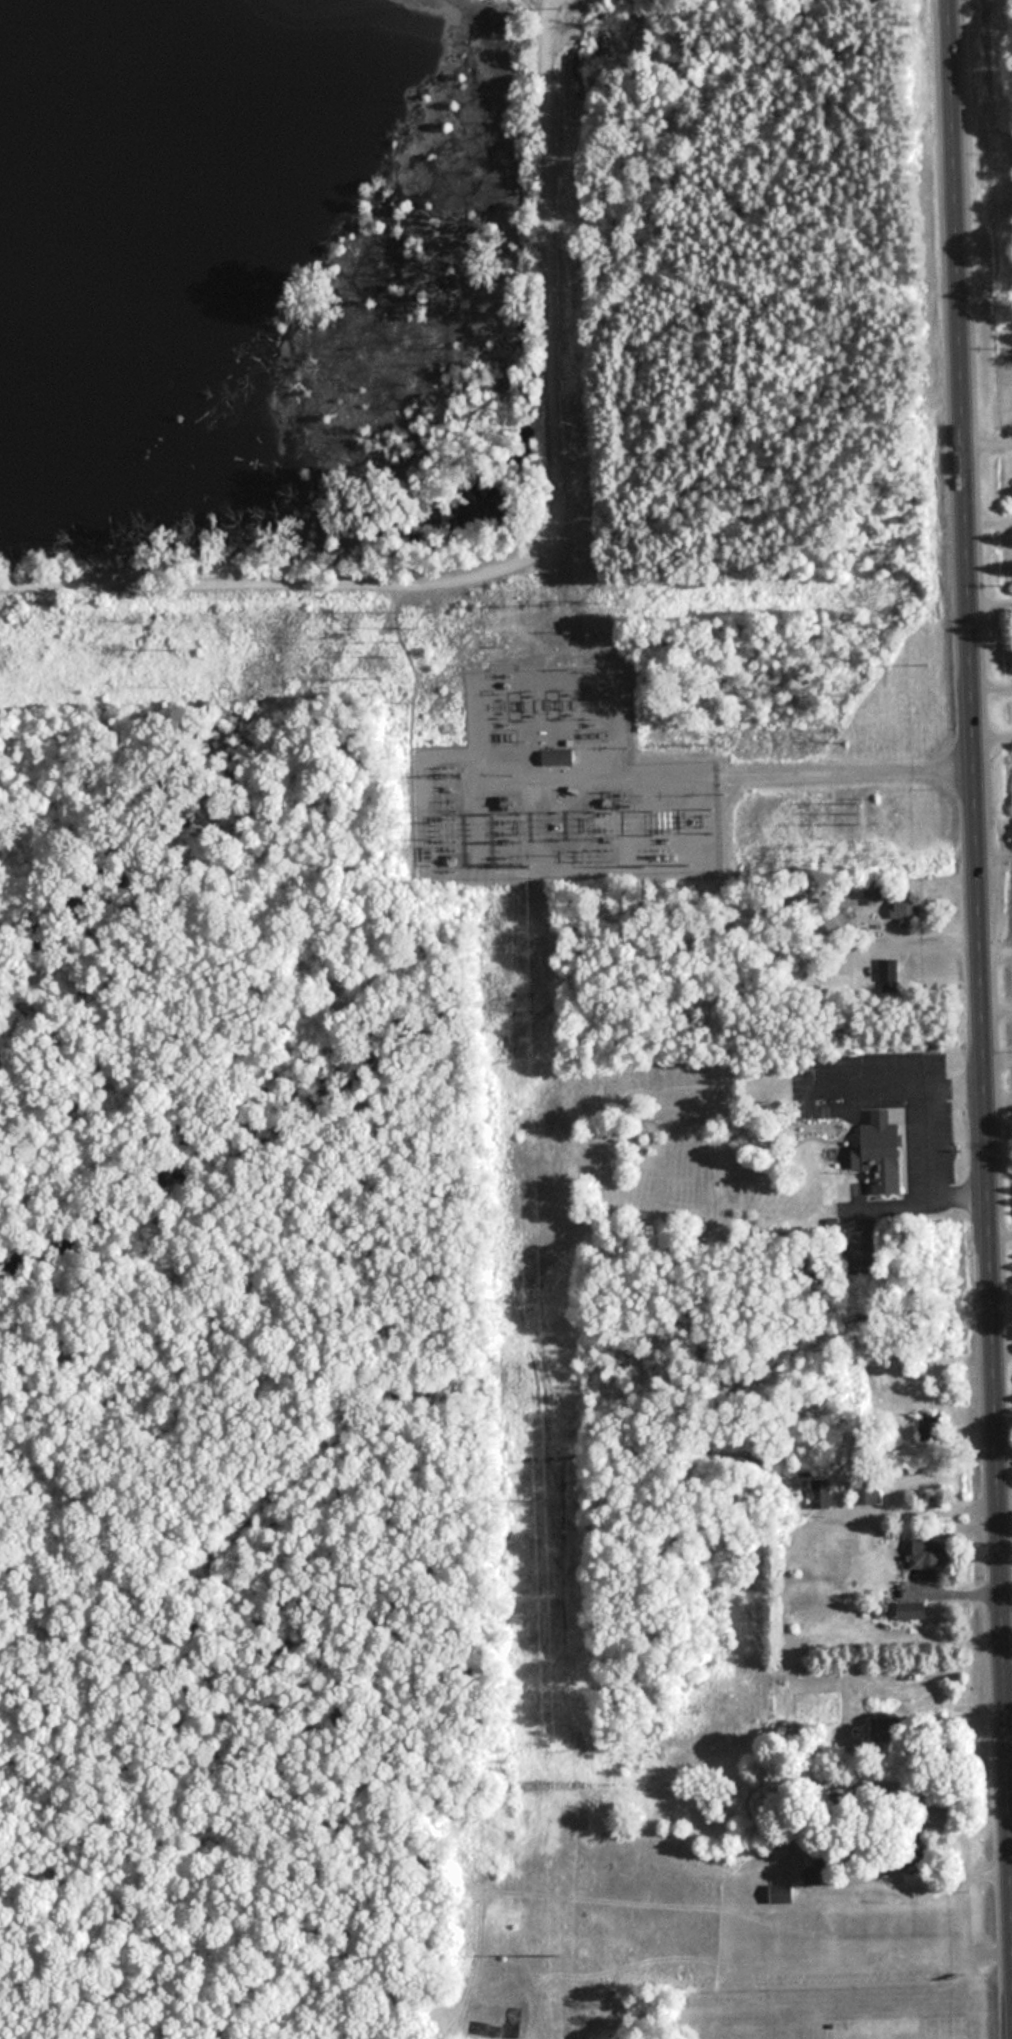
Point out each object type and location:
park: (980, 149)
road: (985, 431)
power tower: (407, 641)
power tower: (175, 650)
power tower: (445, 727)
building: (557, 758)
road: (803, 773)
power substation: (542, 785)
power tower: (862, 816)
road: (974, 880)
building: (877, 890)
building: (906, 910)
road: (993, 946)
building: (888, 970)
power tower: (522, 1007)
building: (801, 1065)
building: (883, 1152)
building: (867, 1490)
building: (821, 1493)
power tower: (538, 1499)
building: (926, 1552)
building: (911, 1610)
road: (1011, 1693)
building: (818, 1868)
building: (912, 1879)
building: (782, 1893)
power tower: (555, 1954)

